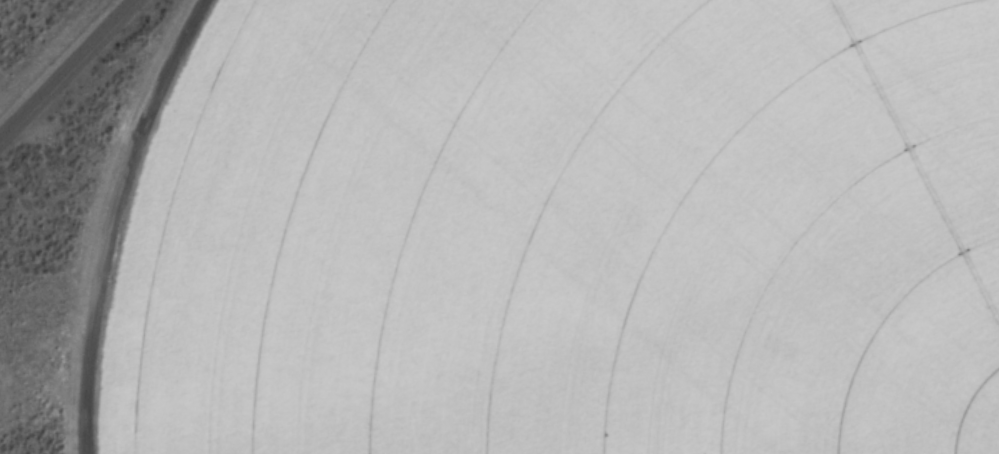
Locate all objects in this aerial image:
road: (70, 72)

